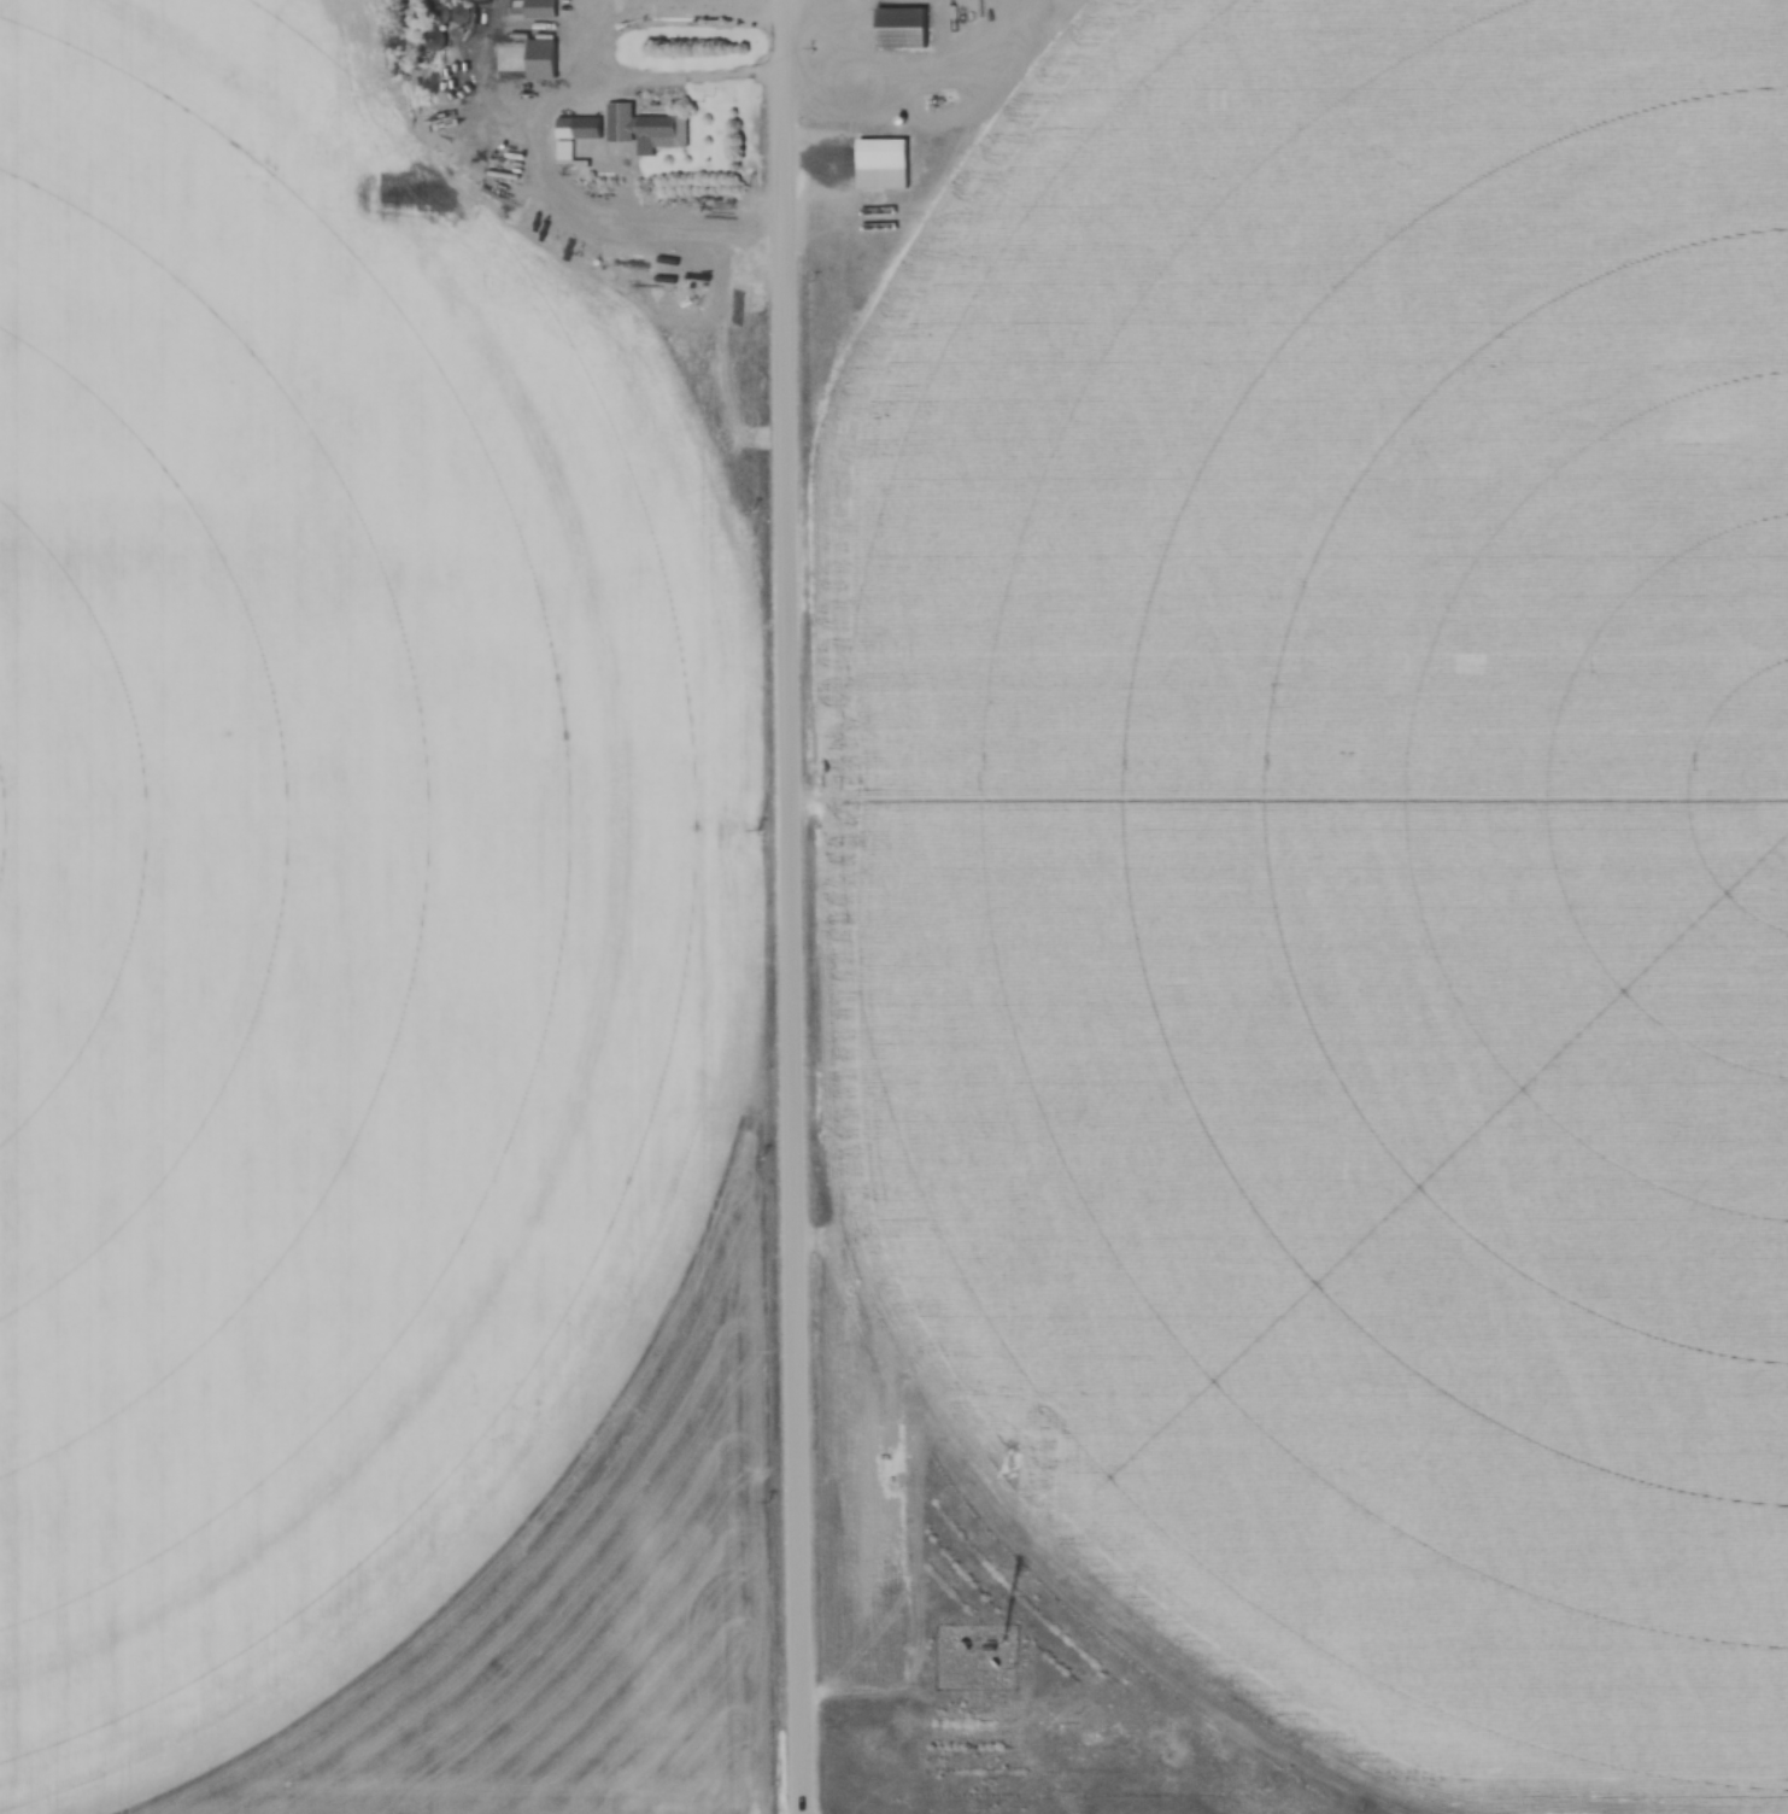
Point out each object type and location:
building: (543, 8)
road: (651, 8)
building: (445, 12)
silo: (445, 12)
building: (467, 12)
silo: (467, 12)
building: (905, 28)
building: (544, 59)
building: (493, 101)
building: (586, 127)
building: (643, 129)
building: (885, 164)
road: (791, 907)

